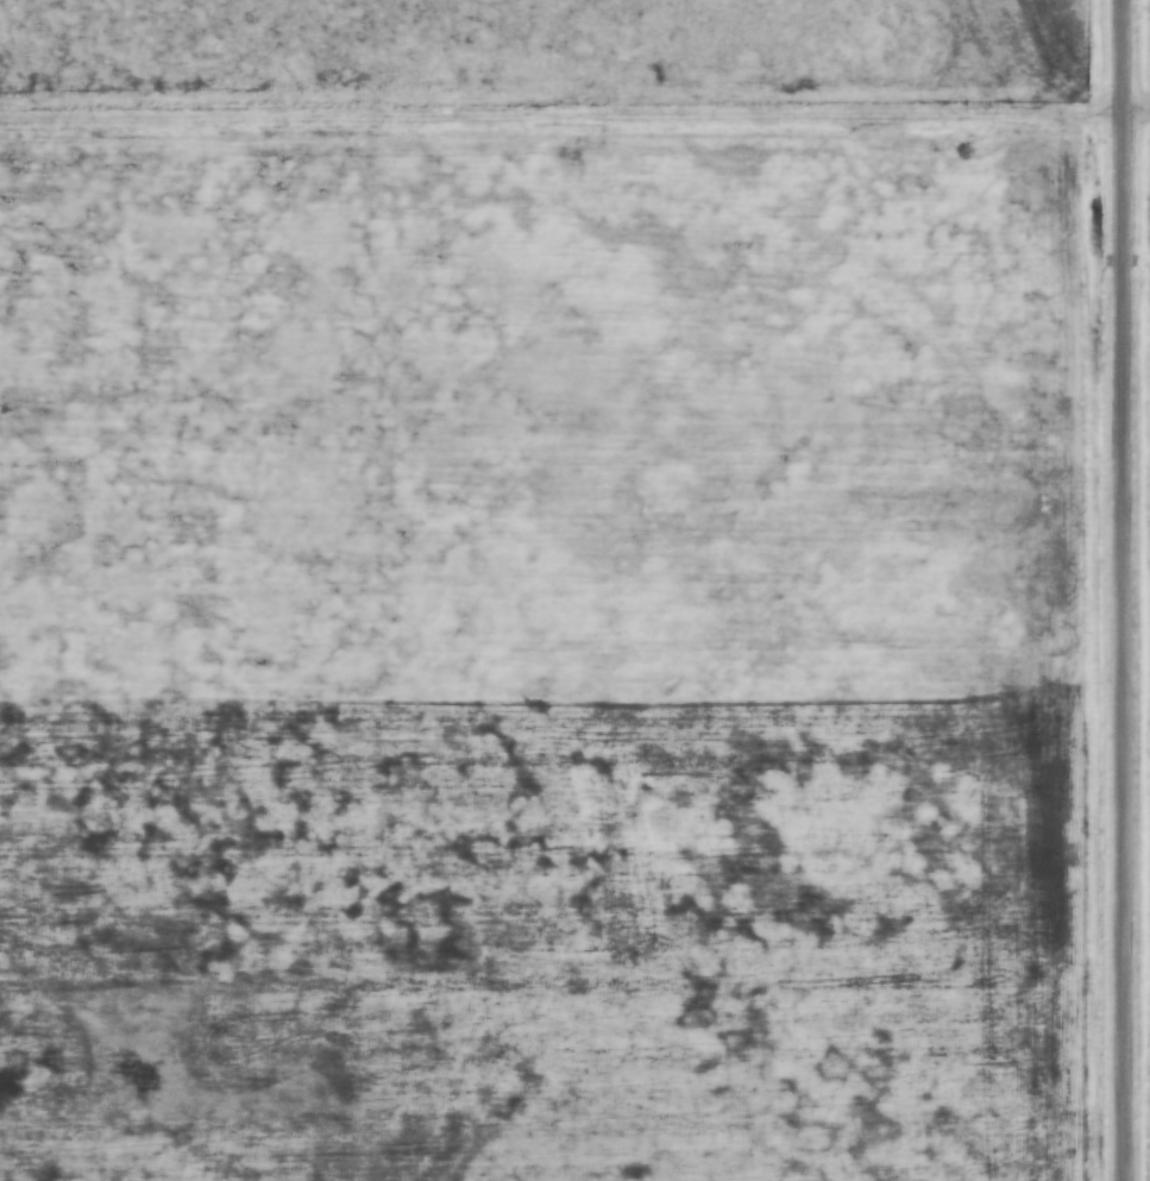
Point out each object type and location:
road: (574, 125)
road: (1120, 590)

